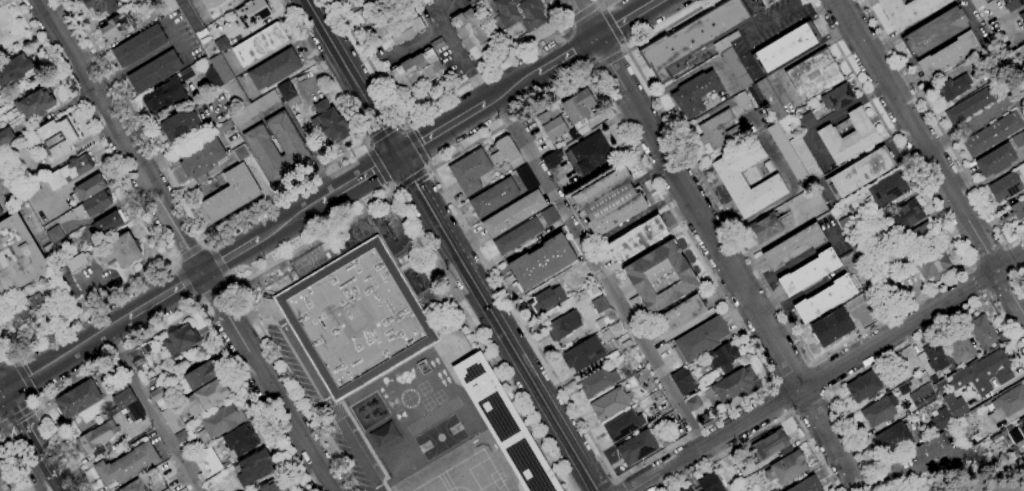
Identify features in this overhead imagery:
road: (600, 0)
building: (426, 1)
road: (3, 2)
building: (349, 2)
building: (767, 2)
road: (596, 3)
building: (977, 3)
building: (1013, 4)
building: (101, 6)
building: (166, 6)
building: (218, 6)
road: (439, 11)
building: (908, 11)
building: (251, 13)
building: (519, 13)
road: (579, 13)
road: (1012, 14)
building: (189, 15)
building: (1022, 17)
road: (626, 19)
road: (975, 21)
road: (767, 22)
road: (563, 24)
building: (116, 28)
park: (16, 29)
building: (398, 29)
building: (935, 31)
building: (472, 33)
road: (449, 38)
building: (692, 38)
building: (221, 44)
building: (259, 44)
building: (139, 46)
building: (785, 47)
road: (624, 53)
building: (948, 55)
road: (565, 56)
building: (732, 60)
road: (608, 63)
building: (418, 67)
building: (274, 69)
building: (15, 70)
building: (154, 72)
building: (189, 72)
road: (592, 72)
building: (813, 75)
building: (212, 78)
building: (228, 82)
building: (954, 87)
road: (510, 88)
building: (694, 93)
building: (288, 94)
building: (165, 95)
building: (837, 97)
building: (766, 98)
building: (741, 99)
road: (434, 101)
building: (36, 103)
building: (971, 105)
building: (254, 108)
building: (578, 108)
road: (403, 120)
building: (805, 120)
building: (328, 122)
road: (934, 122)
building: (551, 123)
building: (179, 125)
building: (225, 126)
road: (441, 129)
building: (717, 130)
road: (384, 132)
building: (1023, 133)
building: (992, 134)
building: (848, 136)
building: (6, 137)
building: (56, 139)
building: (1017, 140)
road: (364, 144)
road: (415, 145)
building: (292, 146)
road: (635, 150)
road: (310, 152)
building: (505, 152)
building: (240, 153)
building: (589, 154)
road: (930, 155)
traffic signals: (398, 156)
building: (788, 157)
building: (552, 159)
building: (805, 159)
building: (202, 160)
building: (995, 160)
road: (429, 165)
road: (378, 166)
building: (768, 166)
road: (428, 169)
building: (69, 171)
building: (470, 171)
building: (859, 173)
road: (412, 178)
building: (527, 178)
road: (359, 179)
building: (732, 181)
building: (9, 184)
road: (390, 187)
building: (1004, 187)
road: (396, 188)
building: (88, 189)
building: (887, 189)
building: (231, 193)
building: (493, 198)
building: (608, 202)
building: (93, 205)
building: (1017, 209)
building: (1, 213)
building: (513, 214)
building: (549, 216)
building: (905, 216)
road: (142, 217)
road: (238, 219)
road: (290, 221)
building: (108, 223)
building: (846, 224)
building: (765, 227)
building: (55, 234)
building: (517, 236)
road: (207, 238)
building: (917, 238)
building: (636, 240)
road: (1016, 240)
road: (716, 241)
building: (856, 244)
road: (185, 245)
road: (451, 245)
building: (793, 246)
building: (120, 252)
road: (190, 252)
building: (50, 253)
building: (18, 256)
road: (230, 256)
road: (987, 256)
road: (1016, 258)
road: (167, 260)
road: (217, 261)
building: (541, 261)
building: (75, 262)
road: (792, 263)
building: (932, 264)
road: (598, 272)
building: (809, 273)
building: (659, 277)
building: (825, 280)
road: (976, 282)
building: (61, 283)
road: (184, 283)
road: (236, 283)
road: (1005, 286)
building: (591, 288)
road: (212, 292)
road: (164, 294)
track: (428, 297)
building: (824, 299)
building: (546, 300)
road: (196, 304)
building: (599, 304)
road: (249, 309)
building: (25, 310)
building: (877, 310)
building: (679, 315)
building: (355, 318)
building: (563, 325)
building: (616, 327)
building: (831, 327)
road: (164, 329)
building: (981, 332)
building: (606, 335)
building: (701, 339)
building: (180, 341)
road: (483, 341)
building: (626, 344)
building: (612, 345)
building: (958, 346)
building: (145, 348)
flagpole: (457, 350)
road: (825, 352)
road: (894, 352)
building: (583, 354)
road: (63, 355)
road: (5, 356)
building: (935, 357)
road: (13, 358)
building: (721, 358)
road: (0, 359)
building: (135, 359)
road: (792, 373)
road: (827, 373)
building: (983, 373)
road: (820, 376)
building: (197, 377)
road: (25, 379)
road: (315, 381)
building: (597, 382)
building: (682, 382)
building: (117, 385)
building: (735, 385)
building: (863, 386)
building: (941, 387)
building: (167, 388)
traffic signals: (0, 394)
building: (156, 394)
building: (921, 396)
building: (207, 397)
road: (34, 399)
building: (123, 399)
building: (77, 400)
road: (781, 400)
road: (570, 401)
building: (609, 403)
road: (811, 403)
road: (33, 404)
building: (693, 404)
building: (1006, 404)
building: (955, 405)
parking lot: (318, 406)
road: (151, 411)
building: (134, 412)
building: (877, 412)
road: (16, 415)
track: (433, 416)
building: (703, 417)
building: (941, 419)
building: (172, 420)
building: (219, 422)
building: (504, 425)
building: (623, 426)
building: (1020, 426)
road: (766, 430)
building: (383, 436)
road: (24, 437)
building: (96, 437)
building: (181, 437)
park: (440, 437)
building: (1000, 437)
building: (893, 438)
building: (667, 439)
building: (240, 441)
building: (1019, 445)
building: (770, 446)
building: (636, 448)
building: (931, 449)
building: (98, 452)
building: (207, 462)
building: (127, 465)
road: (12, 468)
building: (254, 468)
building: (785, 468)
park: (473, 476)
building: (709, 483)
road: (883, 483)
building: (3, 485)
road: (53, 485)
building: (138, 485)
road: (619, 485)
building: (807, 485)
building: (274, 486)
park: (433, 487)
road: (852, 488)
building: (686, 489)

